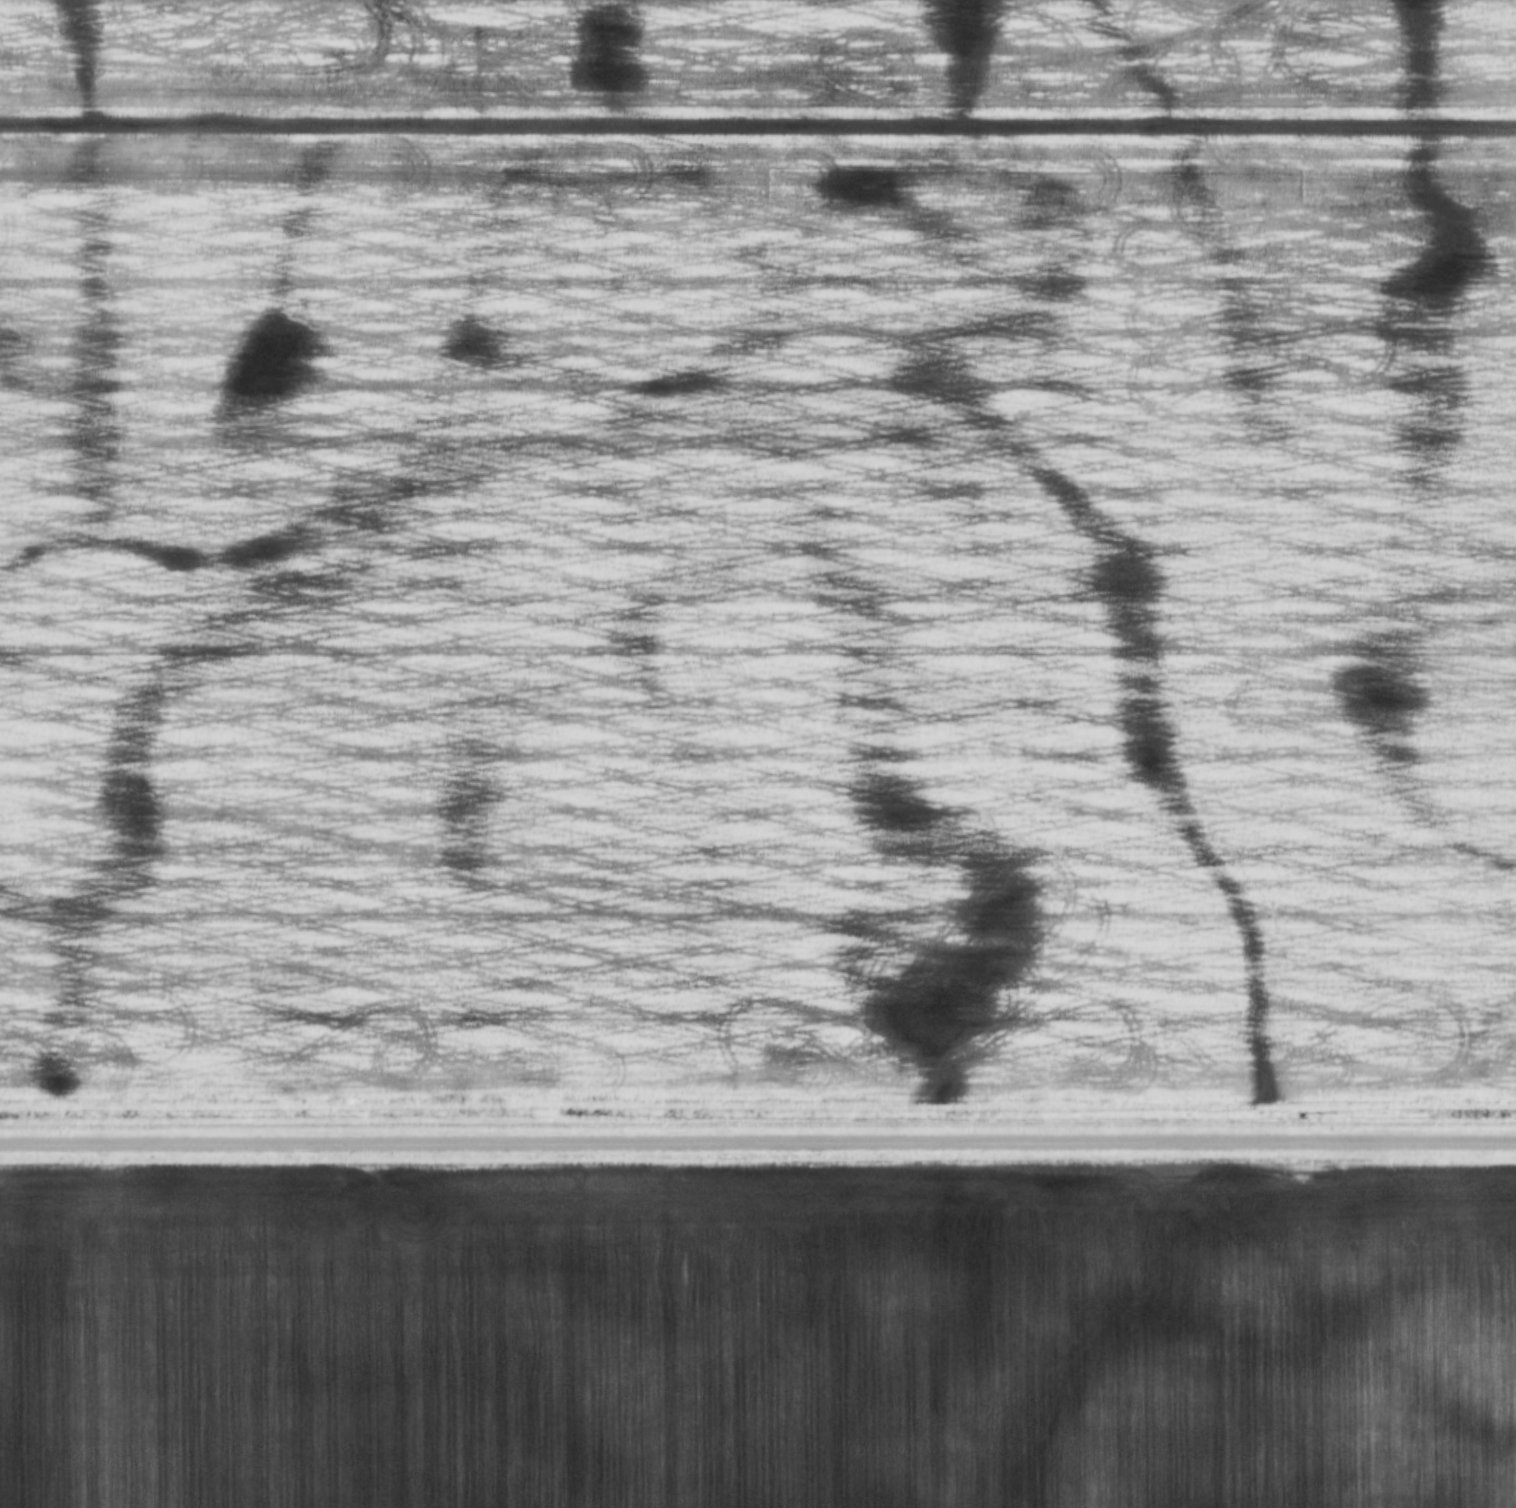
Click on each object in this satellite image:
road: (757, 1144)

